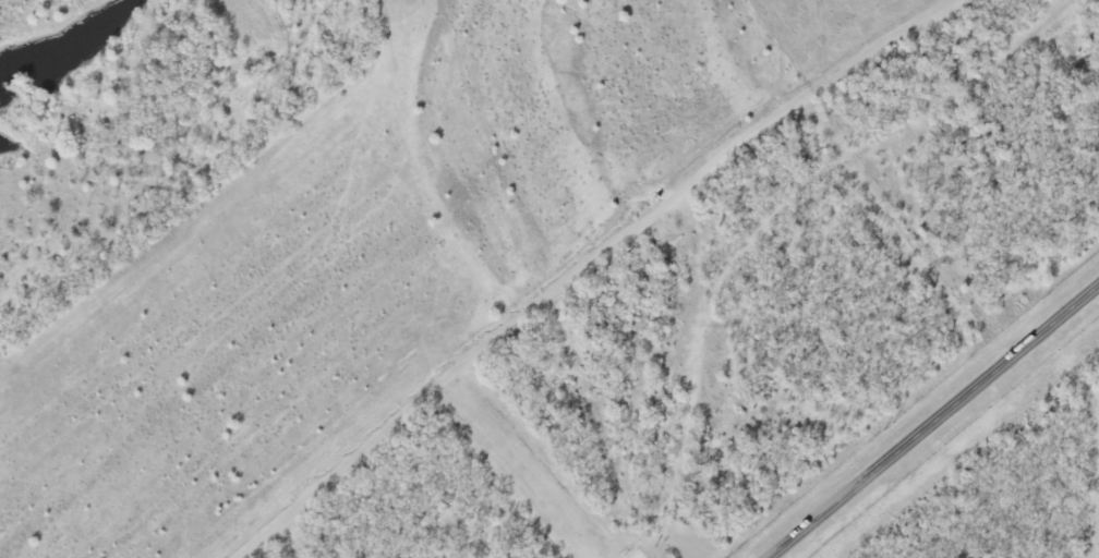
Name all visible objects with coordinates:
road: (937, 424)

